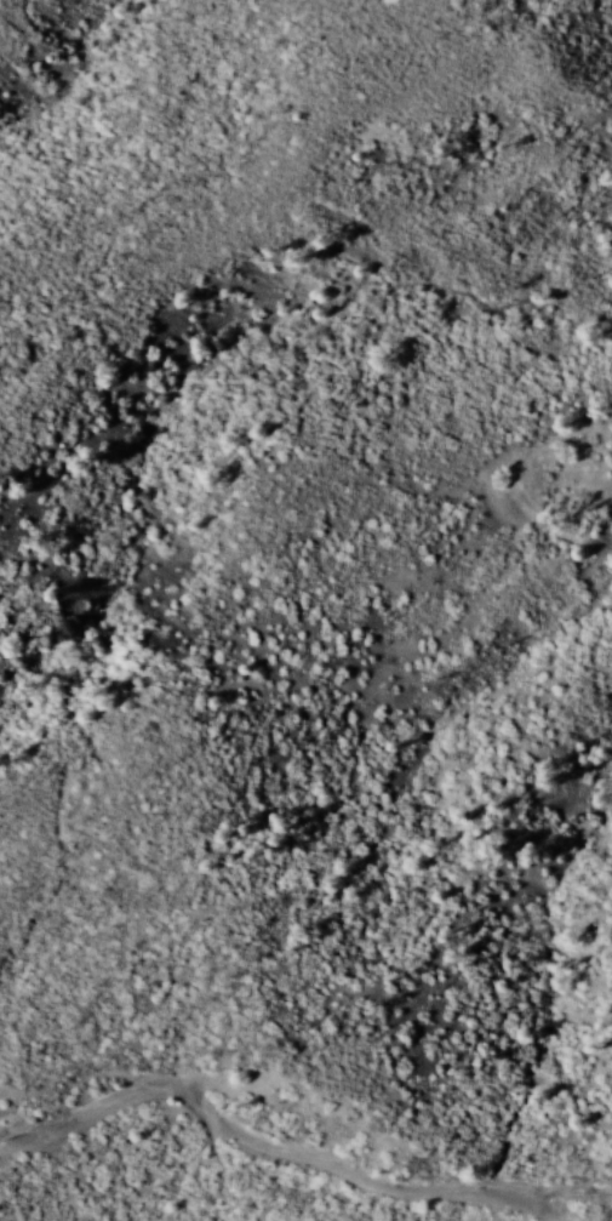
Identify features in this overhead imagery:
road: (274, 1147)

